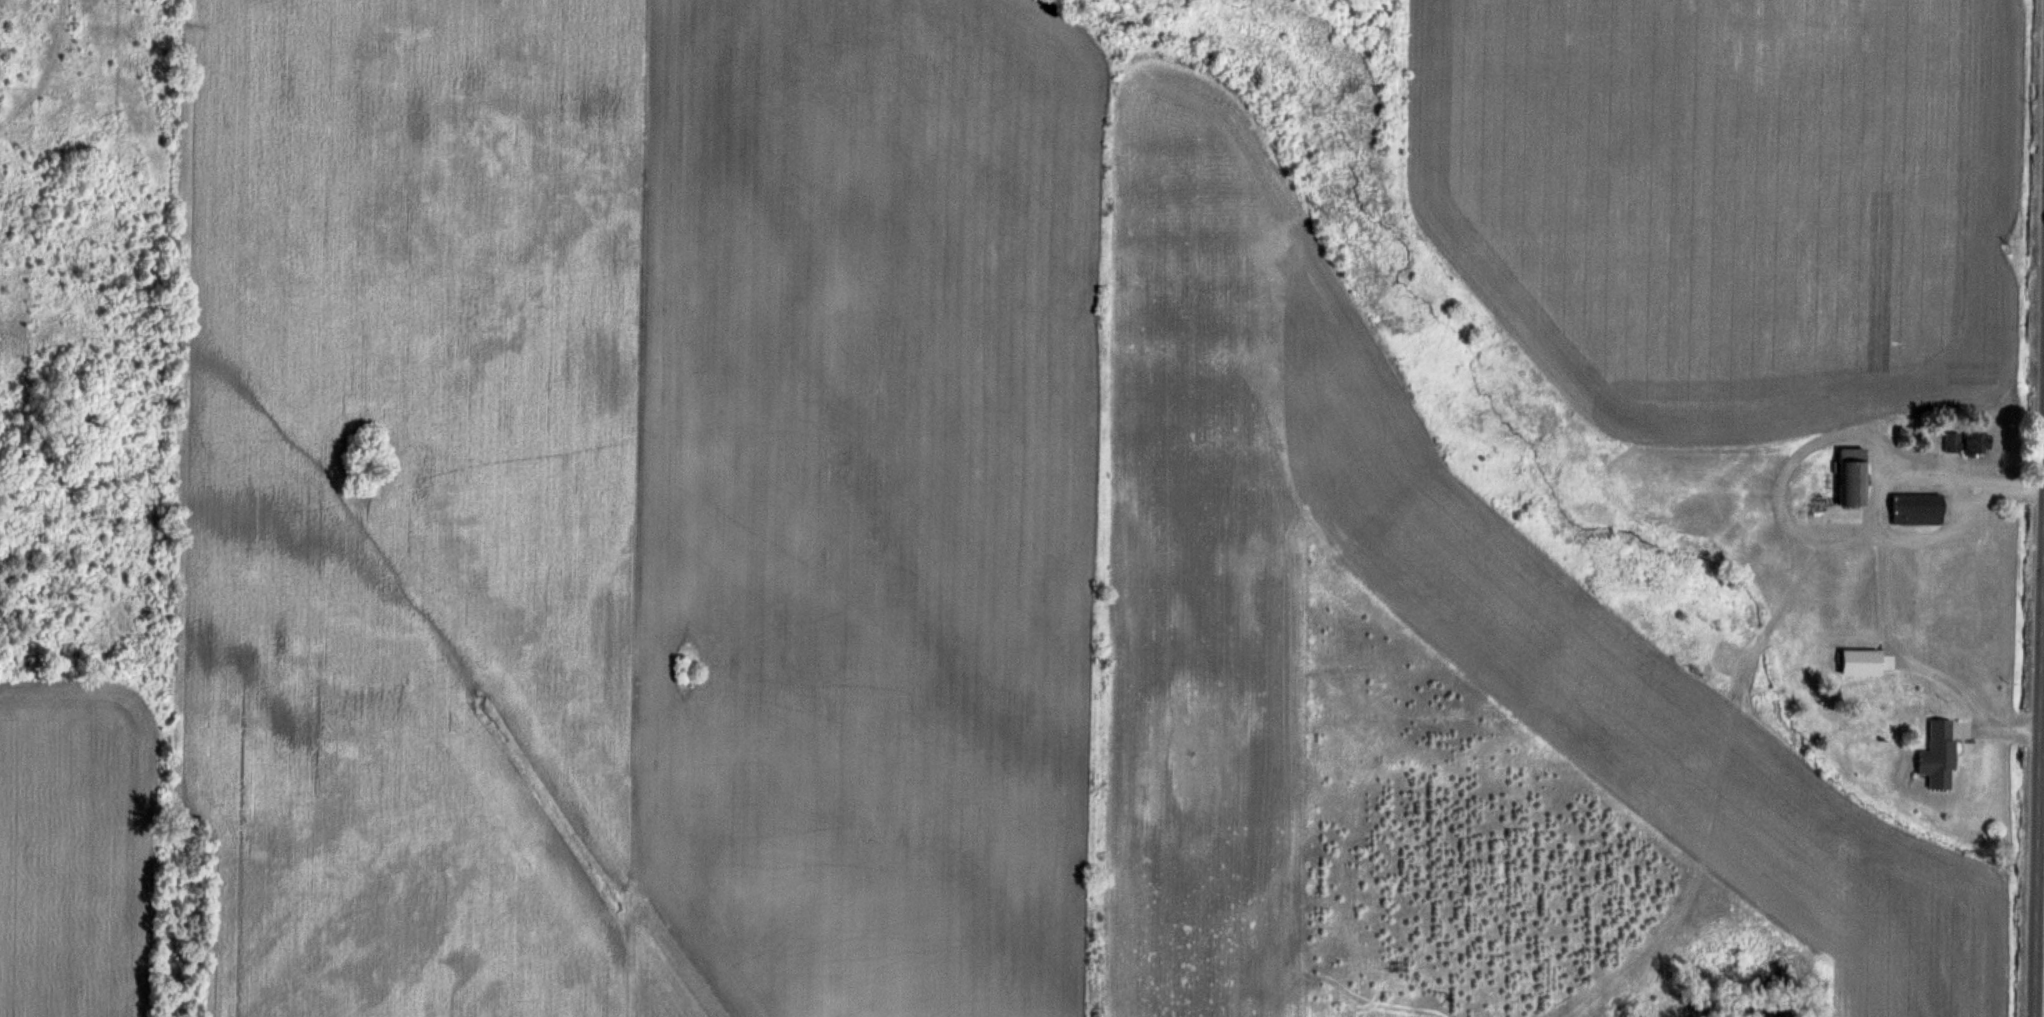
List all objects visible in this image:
building: (1968, 442)
building: (1854, 476)
building: (1918, 508)
building: (1862, 661)
building: (1940, 754)
road: (2039, 764)

